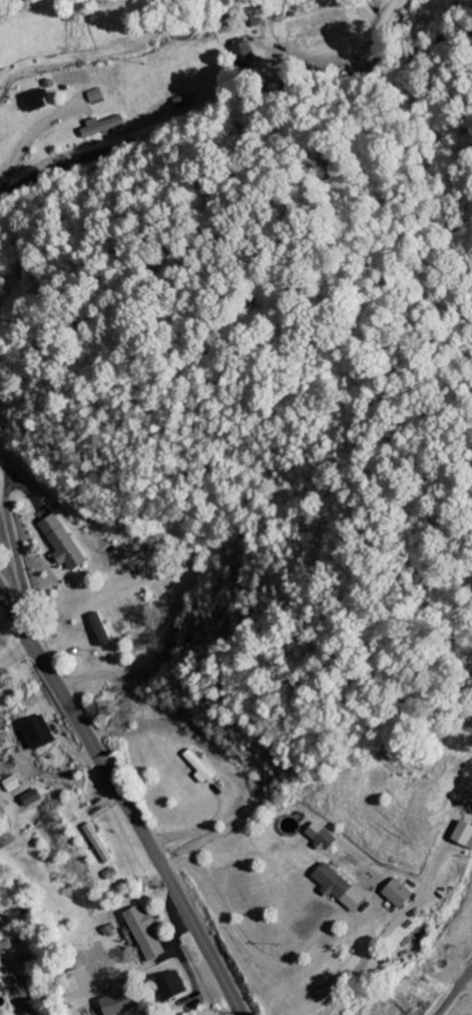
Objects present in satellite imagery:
building: (242, 53)
building: (93, 96)
building: (34, 100)
road: (233, 114)
building: (100, 126)
building: (60, 543)
building: (98, 630)
road: (18, 656)
building: (35, 733)
building: (196, 768)
building: (10, 785)
road: (126, 797)
building: (29, 799)
building: (461, 837)
building: (322, 841)
building: (335, 888)
building: (393, 894)
building: (143, 934)
building: (4, 947)
building: (165, 988)
road: (455, 992)
building: (115, 1005)

